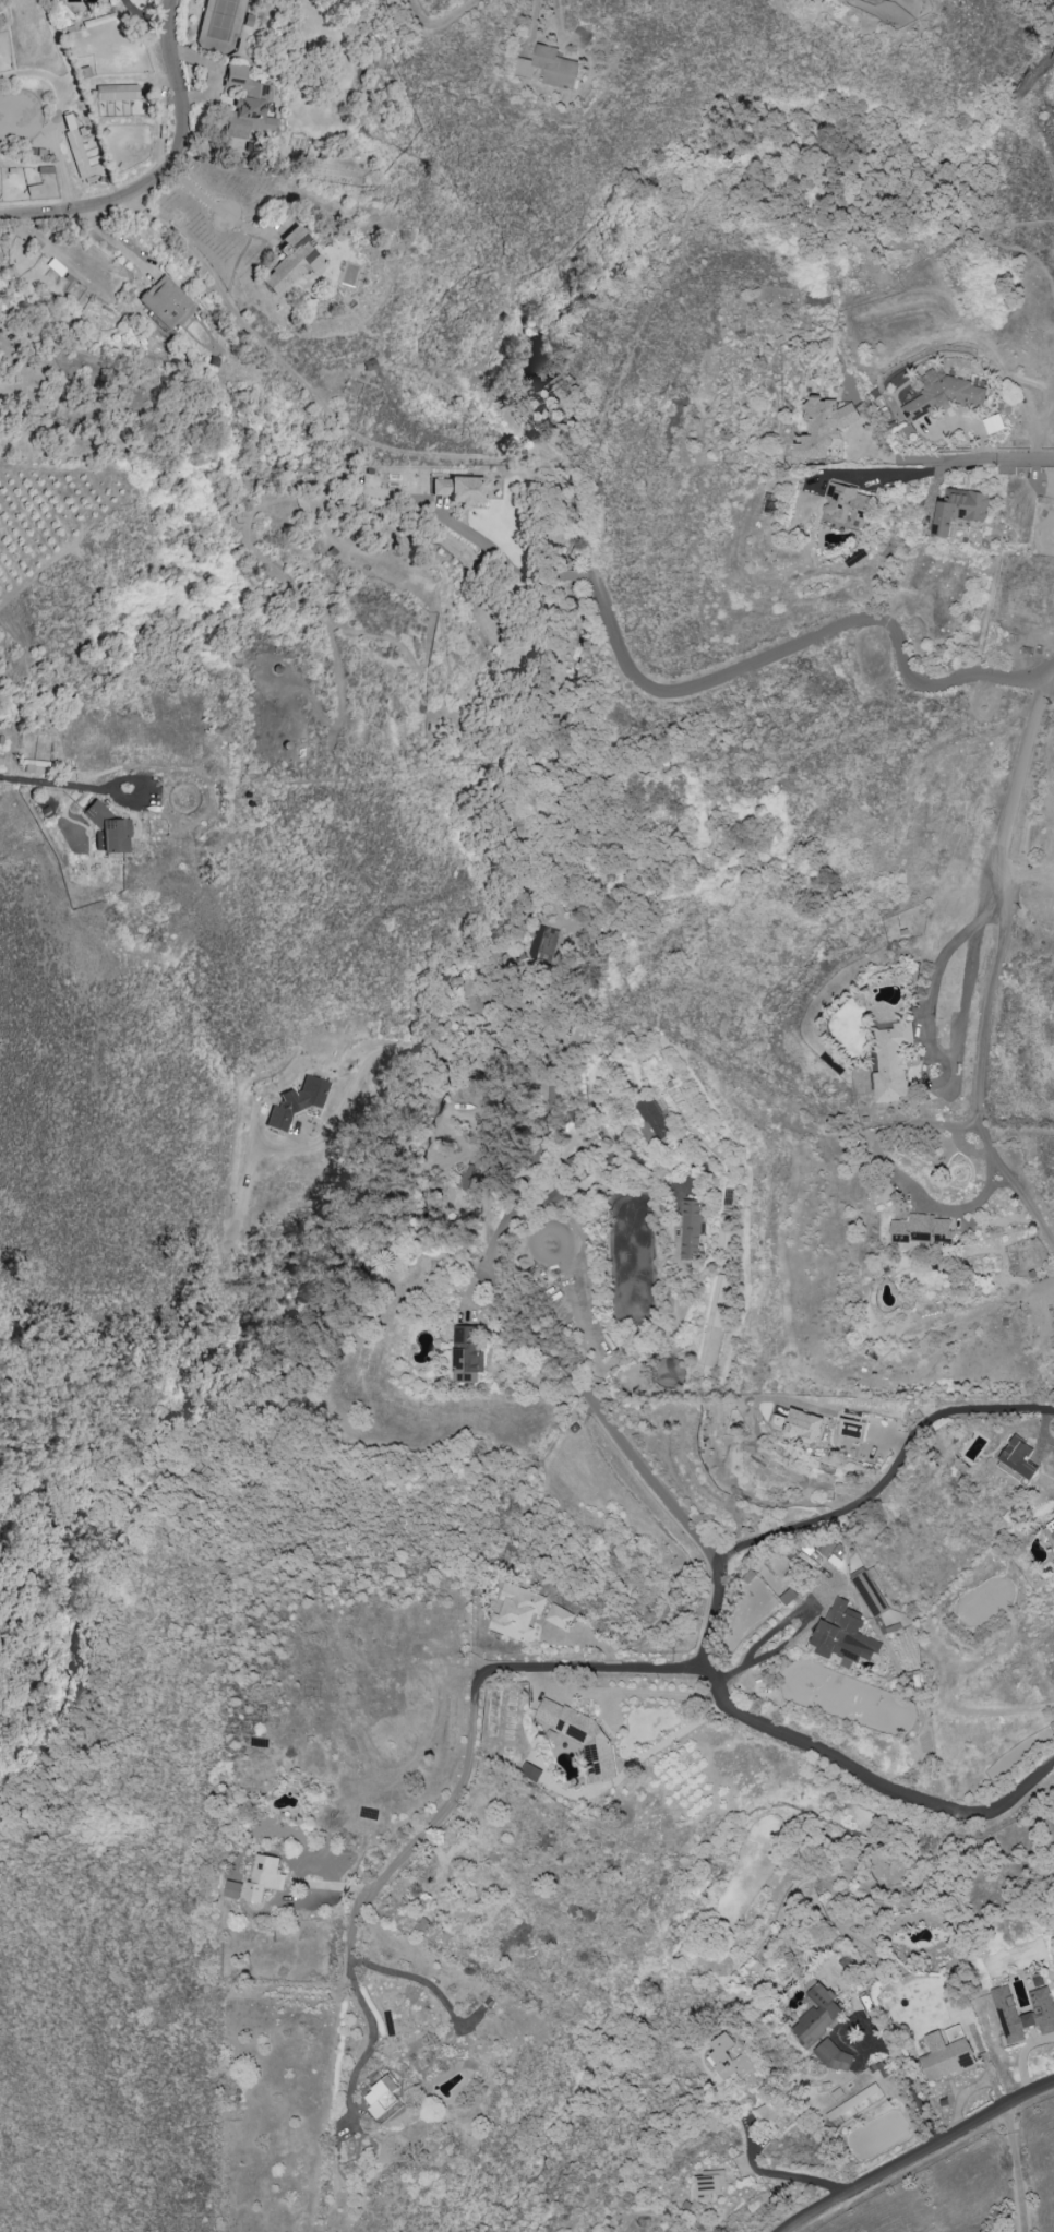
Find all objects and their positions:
building: (837, 0)
road: (439, 23)
building: (549, 68)
road: (171, 72)
building: (113, 94)
building: (244, 106)
road: (1013, 114)
building: (75, 147)
road: (101, 207)
road: (217, 210)
building: (291, 262)
building: (166, 305)
road: (304, 393)
building: (942, 395)
building: (824, 428)
road: (897, 457)
road: (1002, 459)
road: (890, 474)
building: (460, 491)
building: (845, 506)
building: (959, 510)
road: (60, 558)
road: (516, 573)
road: (794, 645)
road: (53, 784)
building: (107, 831)
road: (994, 873)
road: (931, 1003)
road: (385, 1051)
building: (890, 1060)
building: (297, 1103)
building: (651, 1122)
road: (585, 1165)
road: (906, 1185)
road: (1023, 1198)
building: (690, 1228)
building: (920, 1229)
building: (714, 1324)
building: (465, 1353)
building: (799, 1424)
building: (850, 1429)
building: (1017, 1460)
road: (878, 1492)
road: (699, 1523)
building: (827, 1547)
building: (867, 1592)
building: (516, 1612)
building: (560, 1616)
building: (843, 1635)
road: (759, 1640)
road: (0, 1708)
building: (580, 1736)
building: (530, 1771)
road: (459, 1798)
building: (263, 1877)
building: (232, 1889)
building: (1038, 1981)
building: (1039, 2014)
building: (817, 2015)
building: (721, 2051)
building: (946, 2053)
building: (833, 2055)
building: (383, 2101)
building: (768, 2117)
road: (921, 2157)
road: (1015, 2170)
road: (781, 2175)
building: (708, 2184)

